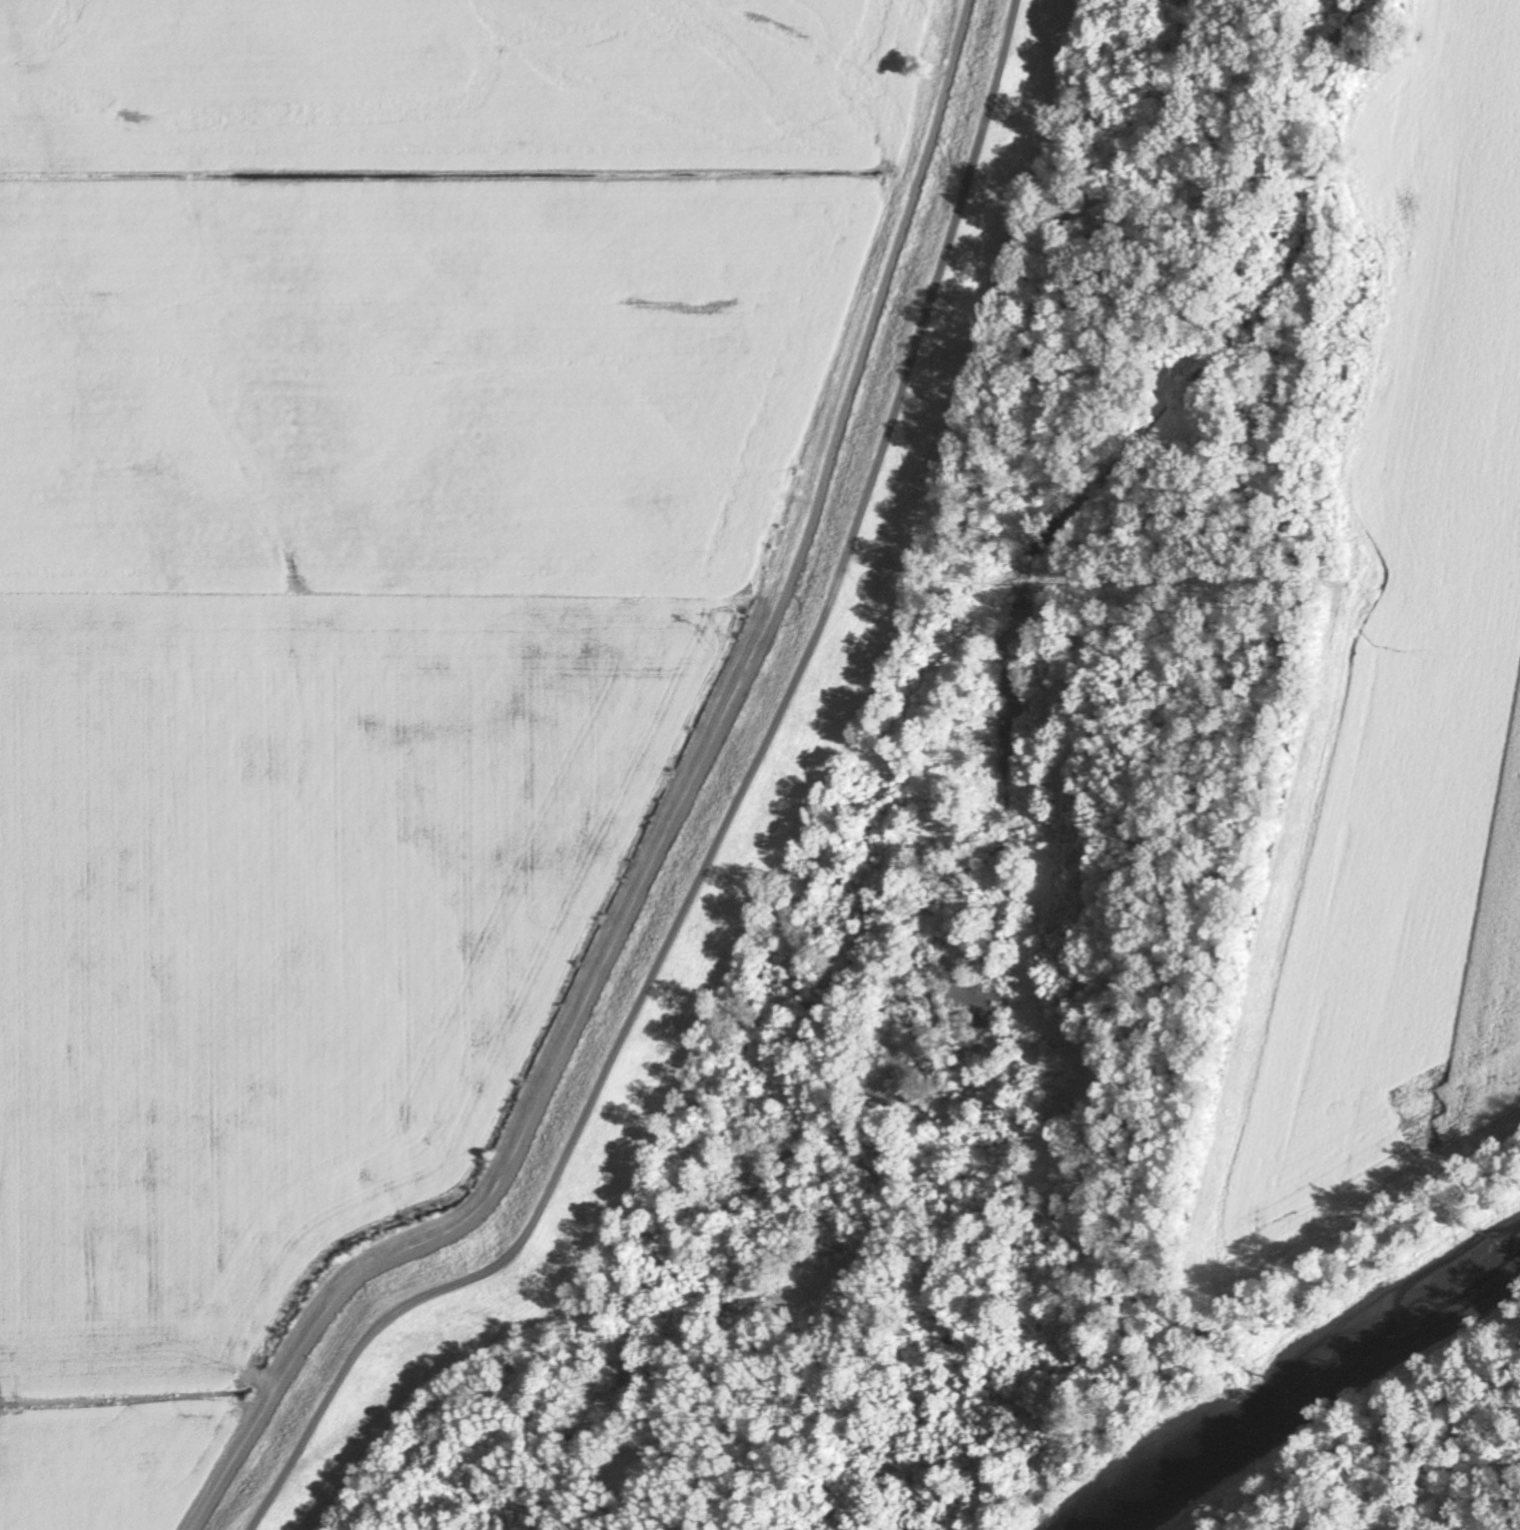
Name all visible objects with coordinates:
road: (732, 824)
road: (676, 826)
river: (1307, 1386)

